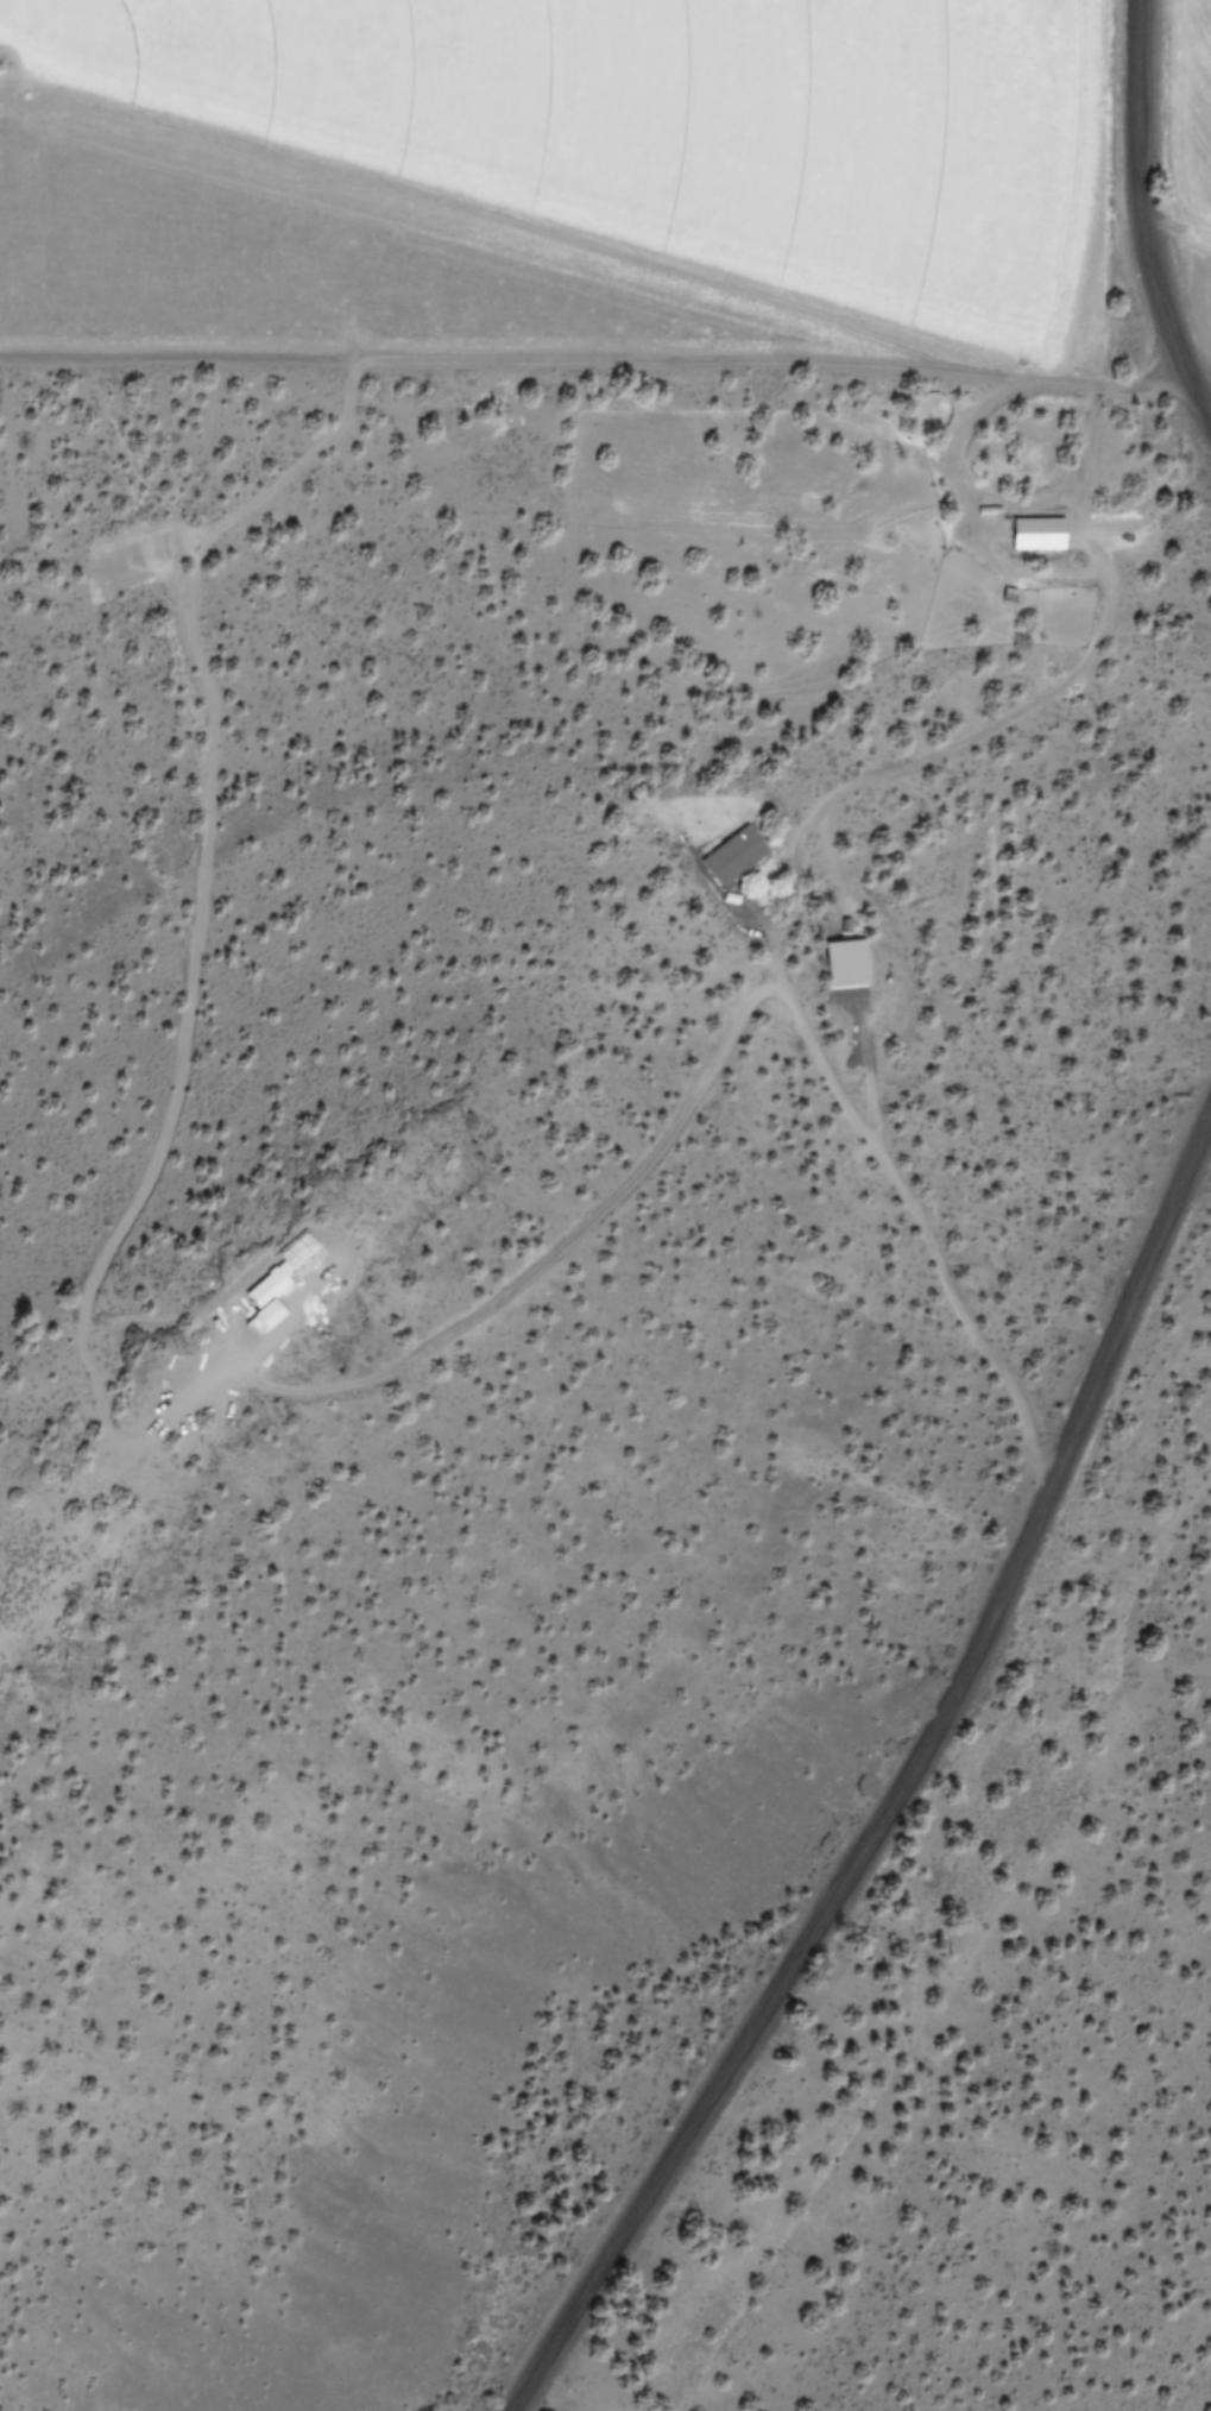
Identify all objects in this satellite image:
crop: (543, 183)
road: (1139, 225)
building: (1033, 531)
building: (729, 854)
building: (841, 961)
road: (901, 1776)

